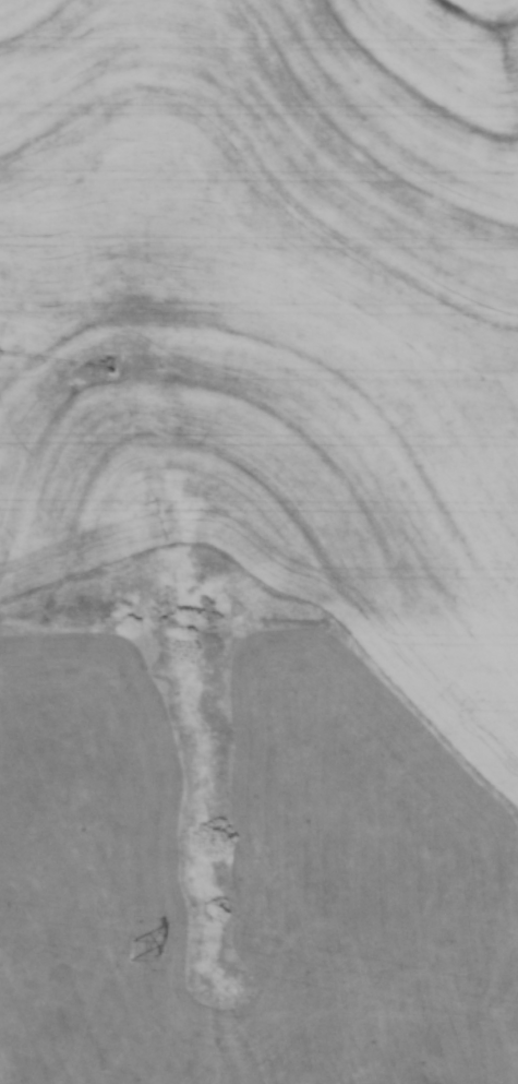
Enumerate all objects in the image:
power tower: (130, 946)

